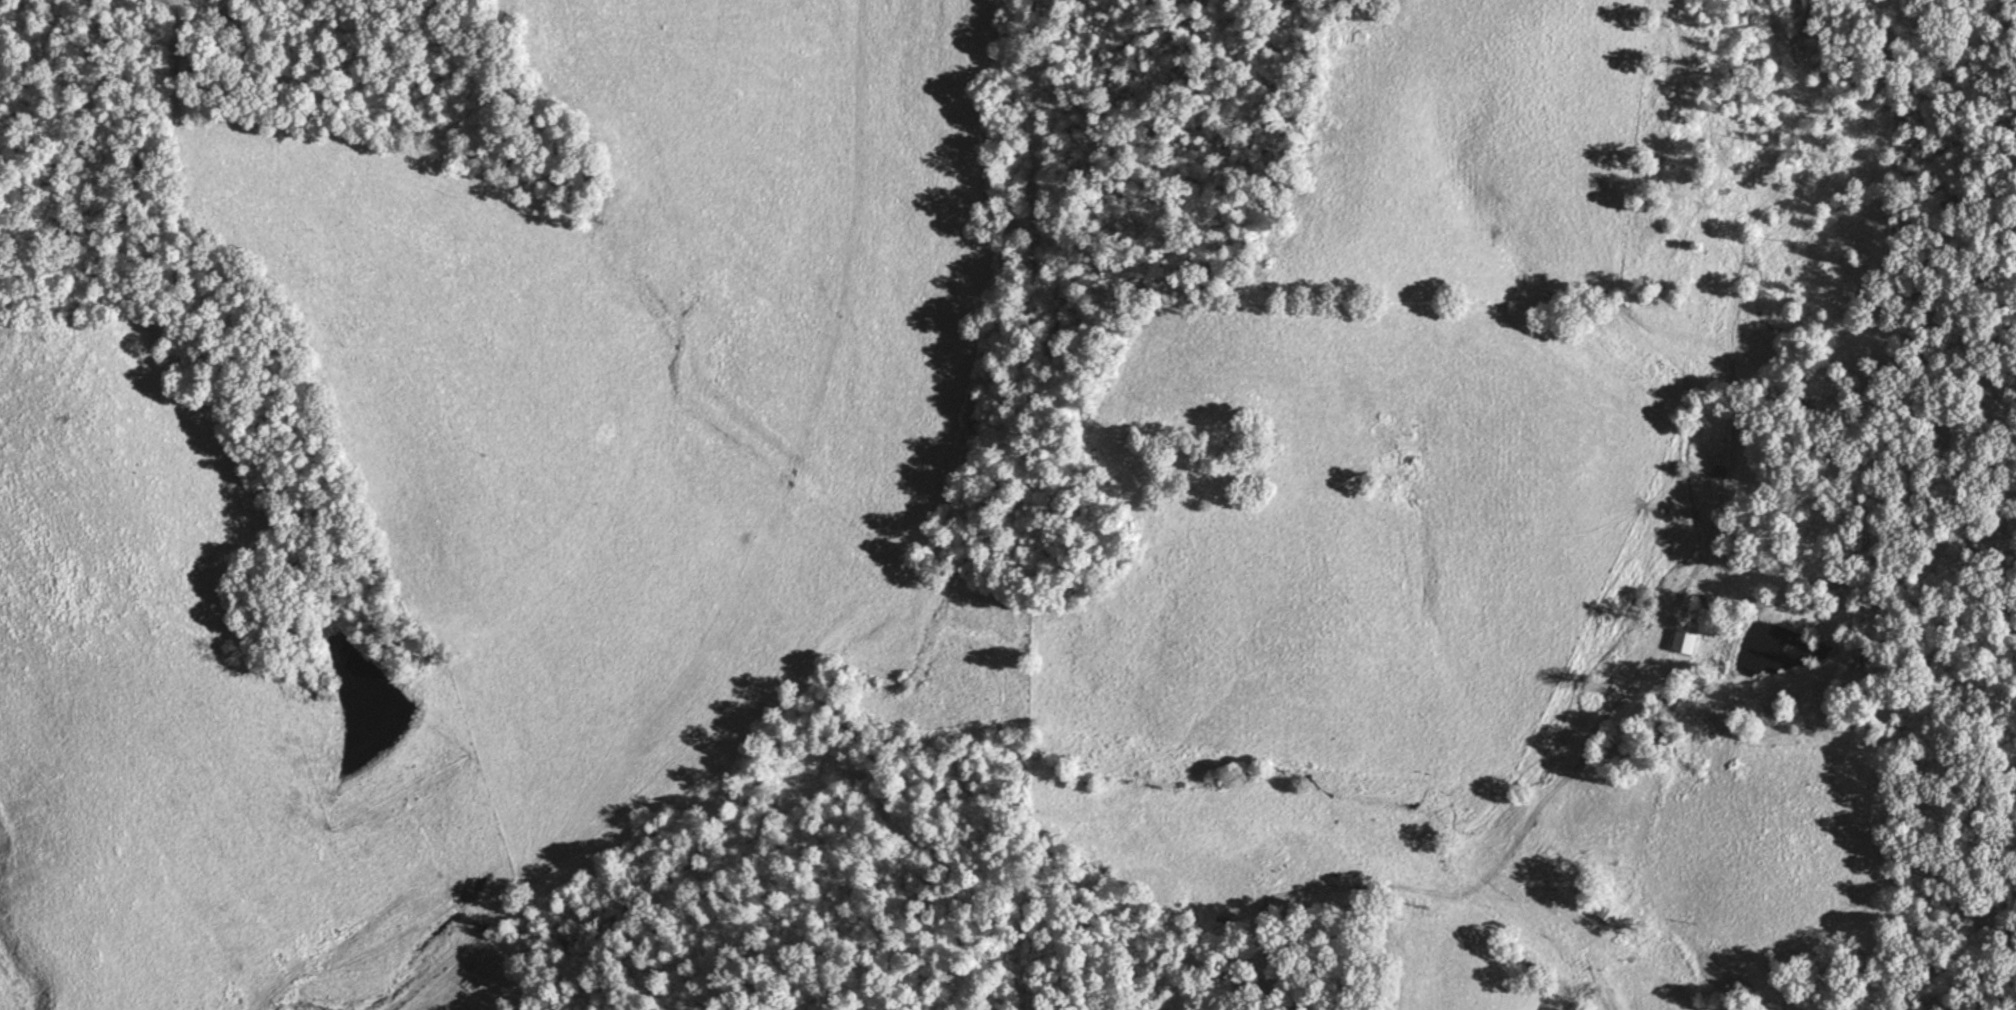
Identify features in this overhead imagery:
building: (1684, 642)
building: (1611, 910)

